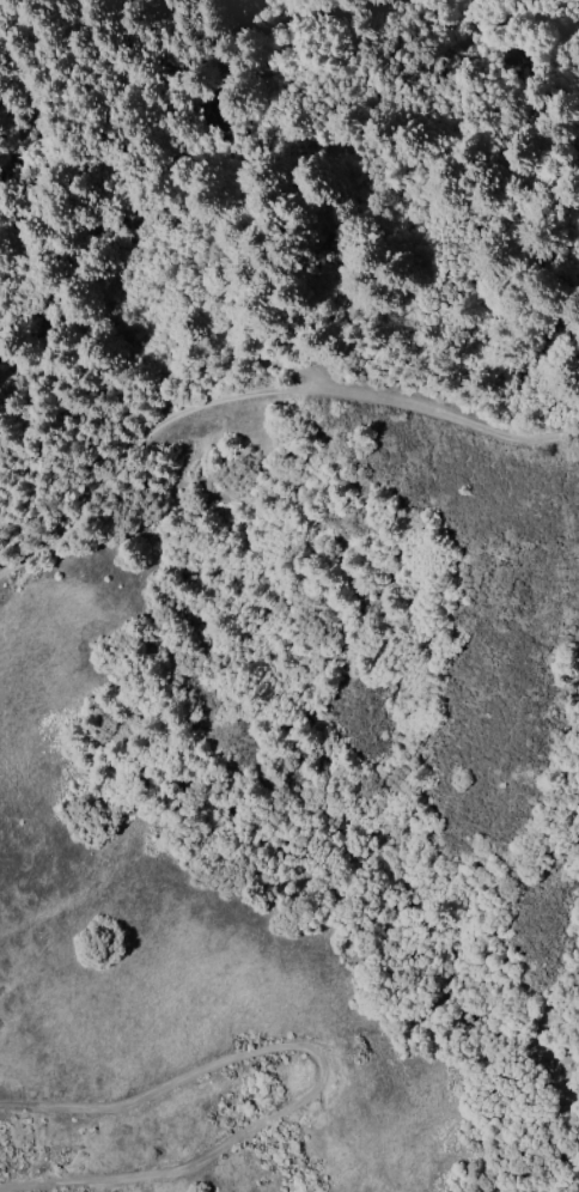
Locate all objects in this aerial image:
road: (154, 383)
road: (260, 407)
road: (321, 1064)

